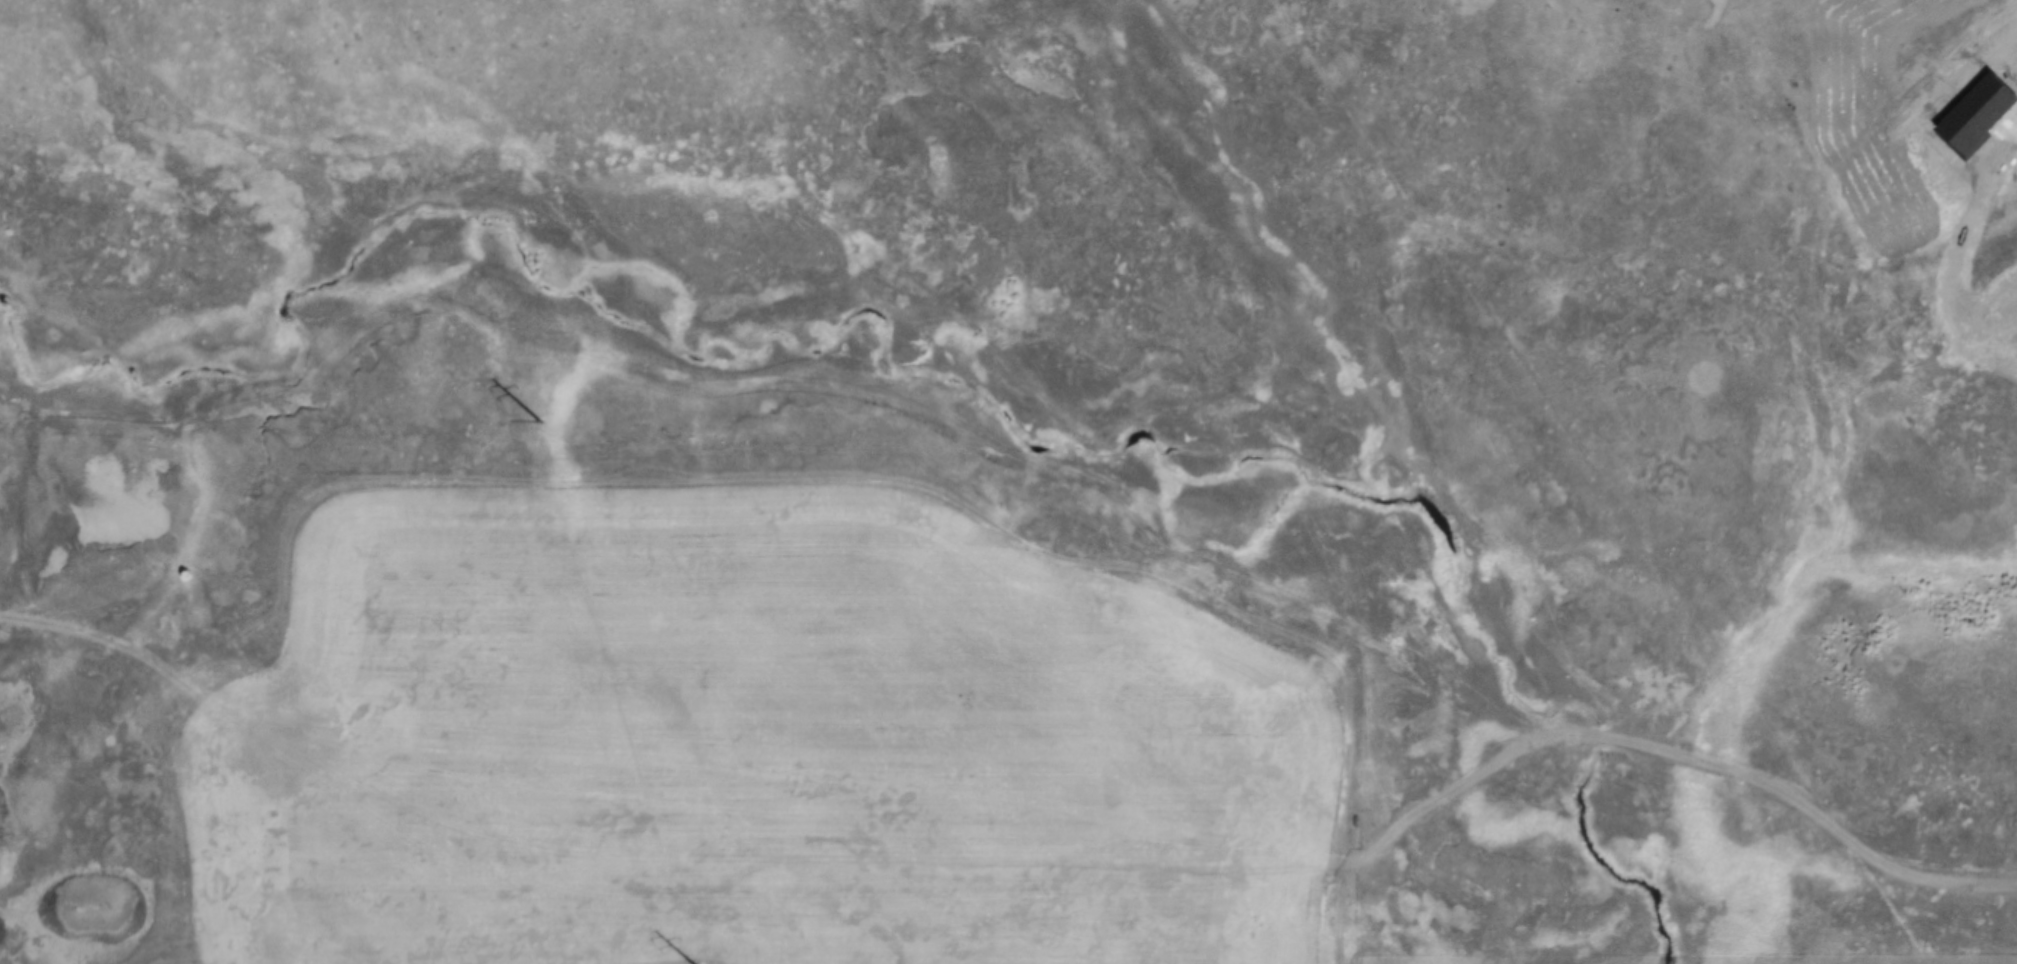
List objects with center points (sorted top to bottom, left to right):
power tower: (537, 422)
road: (736, 477)
road: (1663, 747)
road: (1329, 924)

